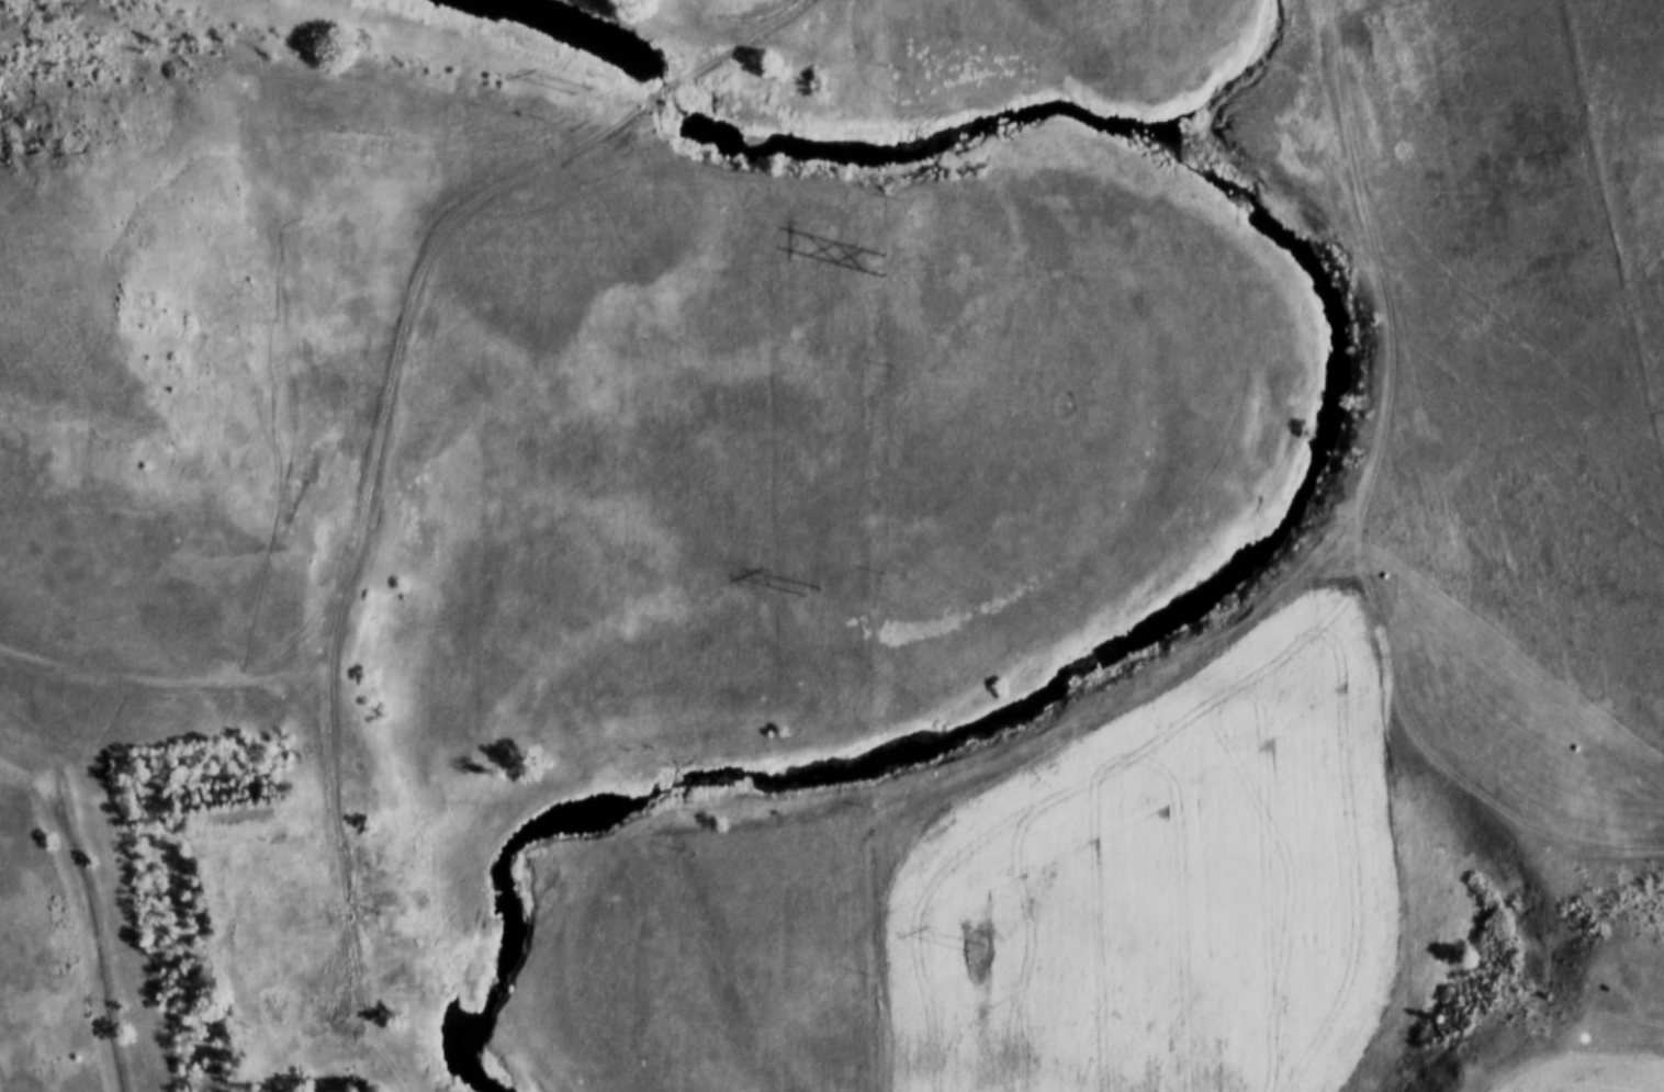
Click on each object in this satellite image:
power tower: (574, 93)
power tower: (881, 271)
road: (393, 365)
road: (1361, 509)
power tower: (807, 600)
power tower: (969, 960)
road: (362, 1018)

